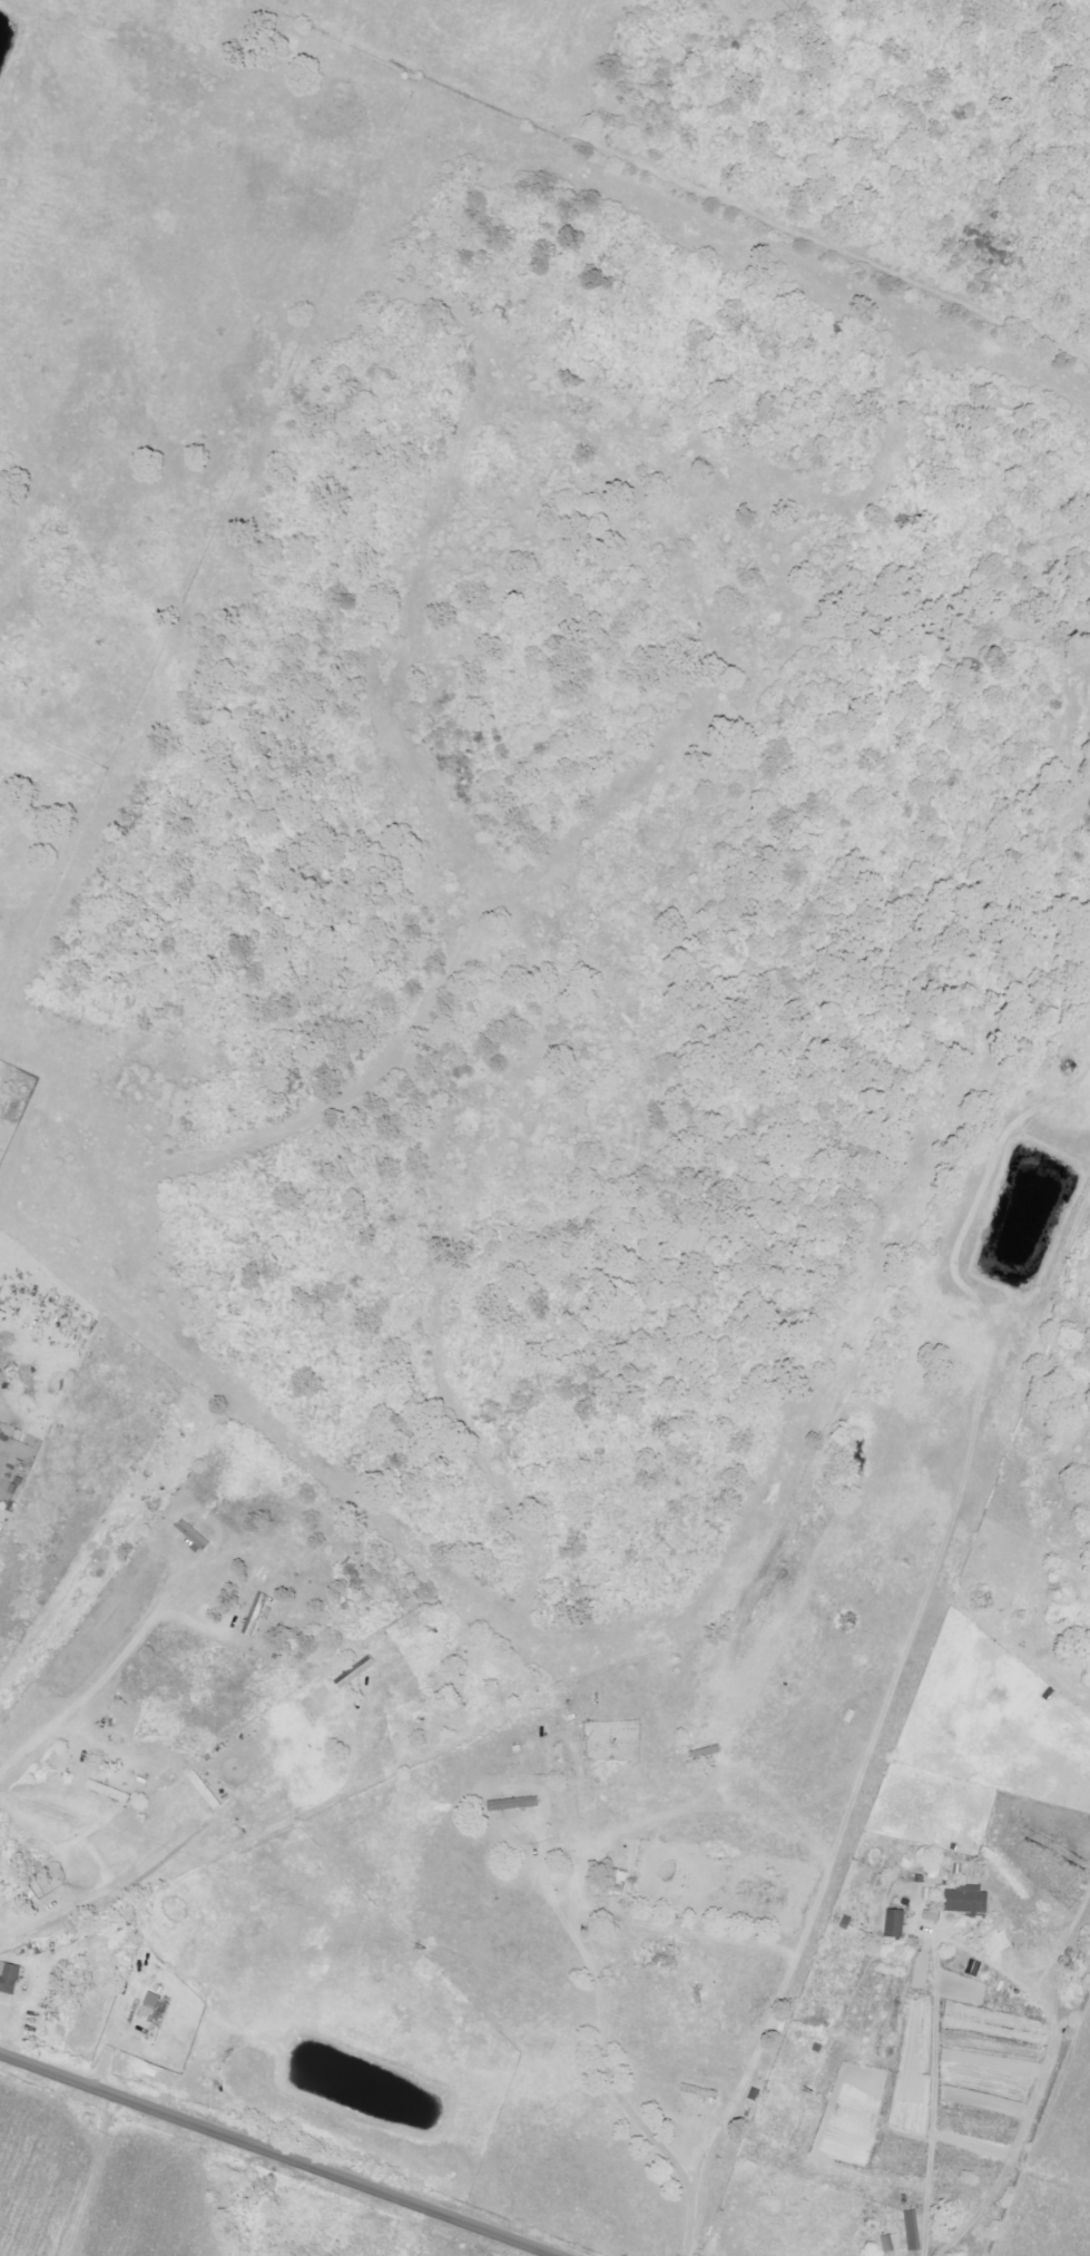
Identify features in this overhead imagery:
building: (192, 1536)
building: (354, 1674)
building: (109, 1793)
building: (204, 1794)
building: (512, 1805)
building: (618, 1884)
building: (966, 1901)
building: (895, 1925)
building: (8, 1979)
building: (155, 2010)
road: (602, 2069)
road: (935, 2099)
road: (278, 2155)
building: (912, 2232)
building: (886, 2245)

